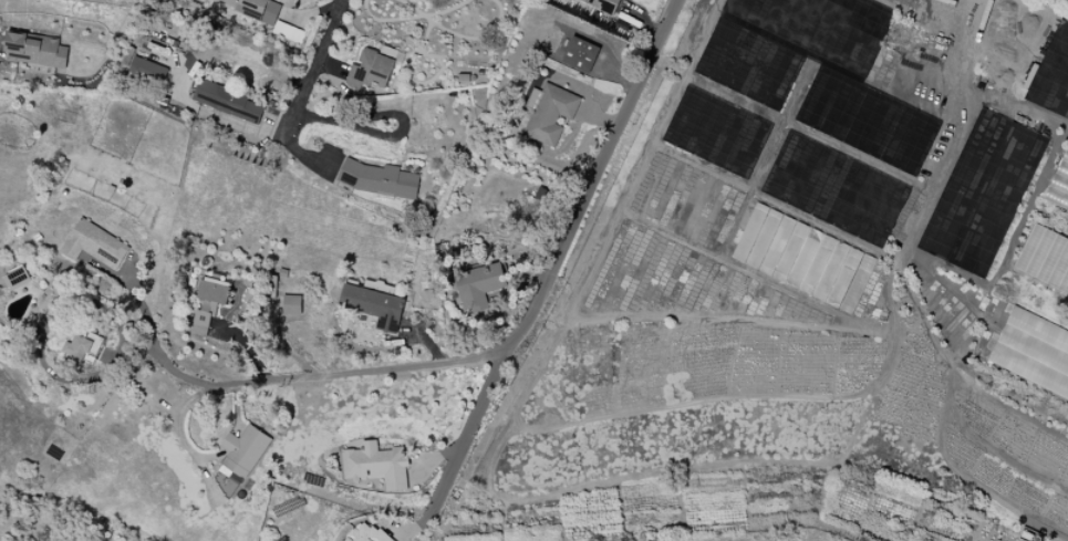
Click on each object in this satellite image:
building: (603, 6)
building: (253, 8)
building: (34, 50)
building: (388, 52)
building: (580, 55)
building: (370, 70)
building: (147, 71)
road: (313, 73)
road: (973, 93)
road: (186, 103)
building: (229, 103)
building: (548, 113)
road: (245, 128)
building: (379, 179)
building: (1059, 185)
building: (802, 258)
building: (1045, 259)
building: (17, 278)
building: (478, 287)
building: (209, 302)
building: (292, 305)
building: (373, 306)
road: (515, 340)
building: (82, 350)
building: (1033, 354)
road: (179, 428)
road: (467, 429)
building: (239, 458)
building: (376, 465)
building: (366, 533)

